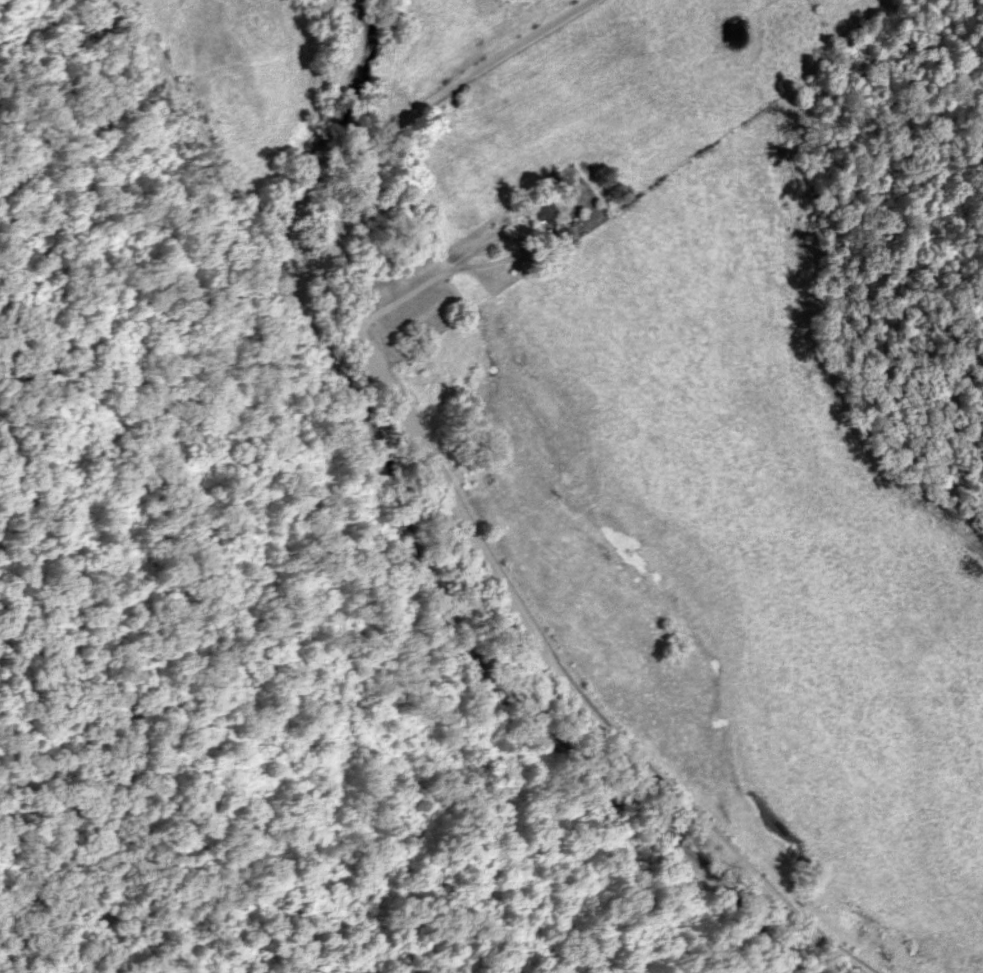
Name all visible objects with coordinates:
road: (416, 106)
building: (543, 213)
road: (488, 242)
road: (462, 517)

